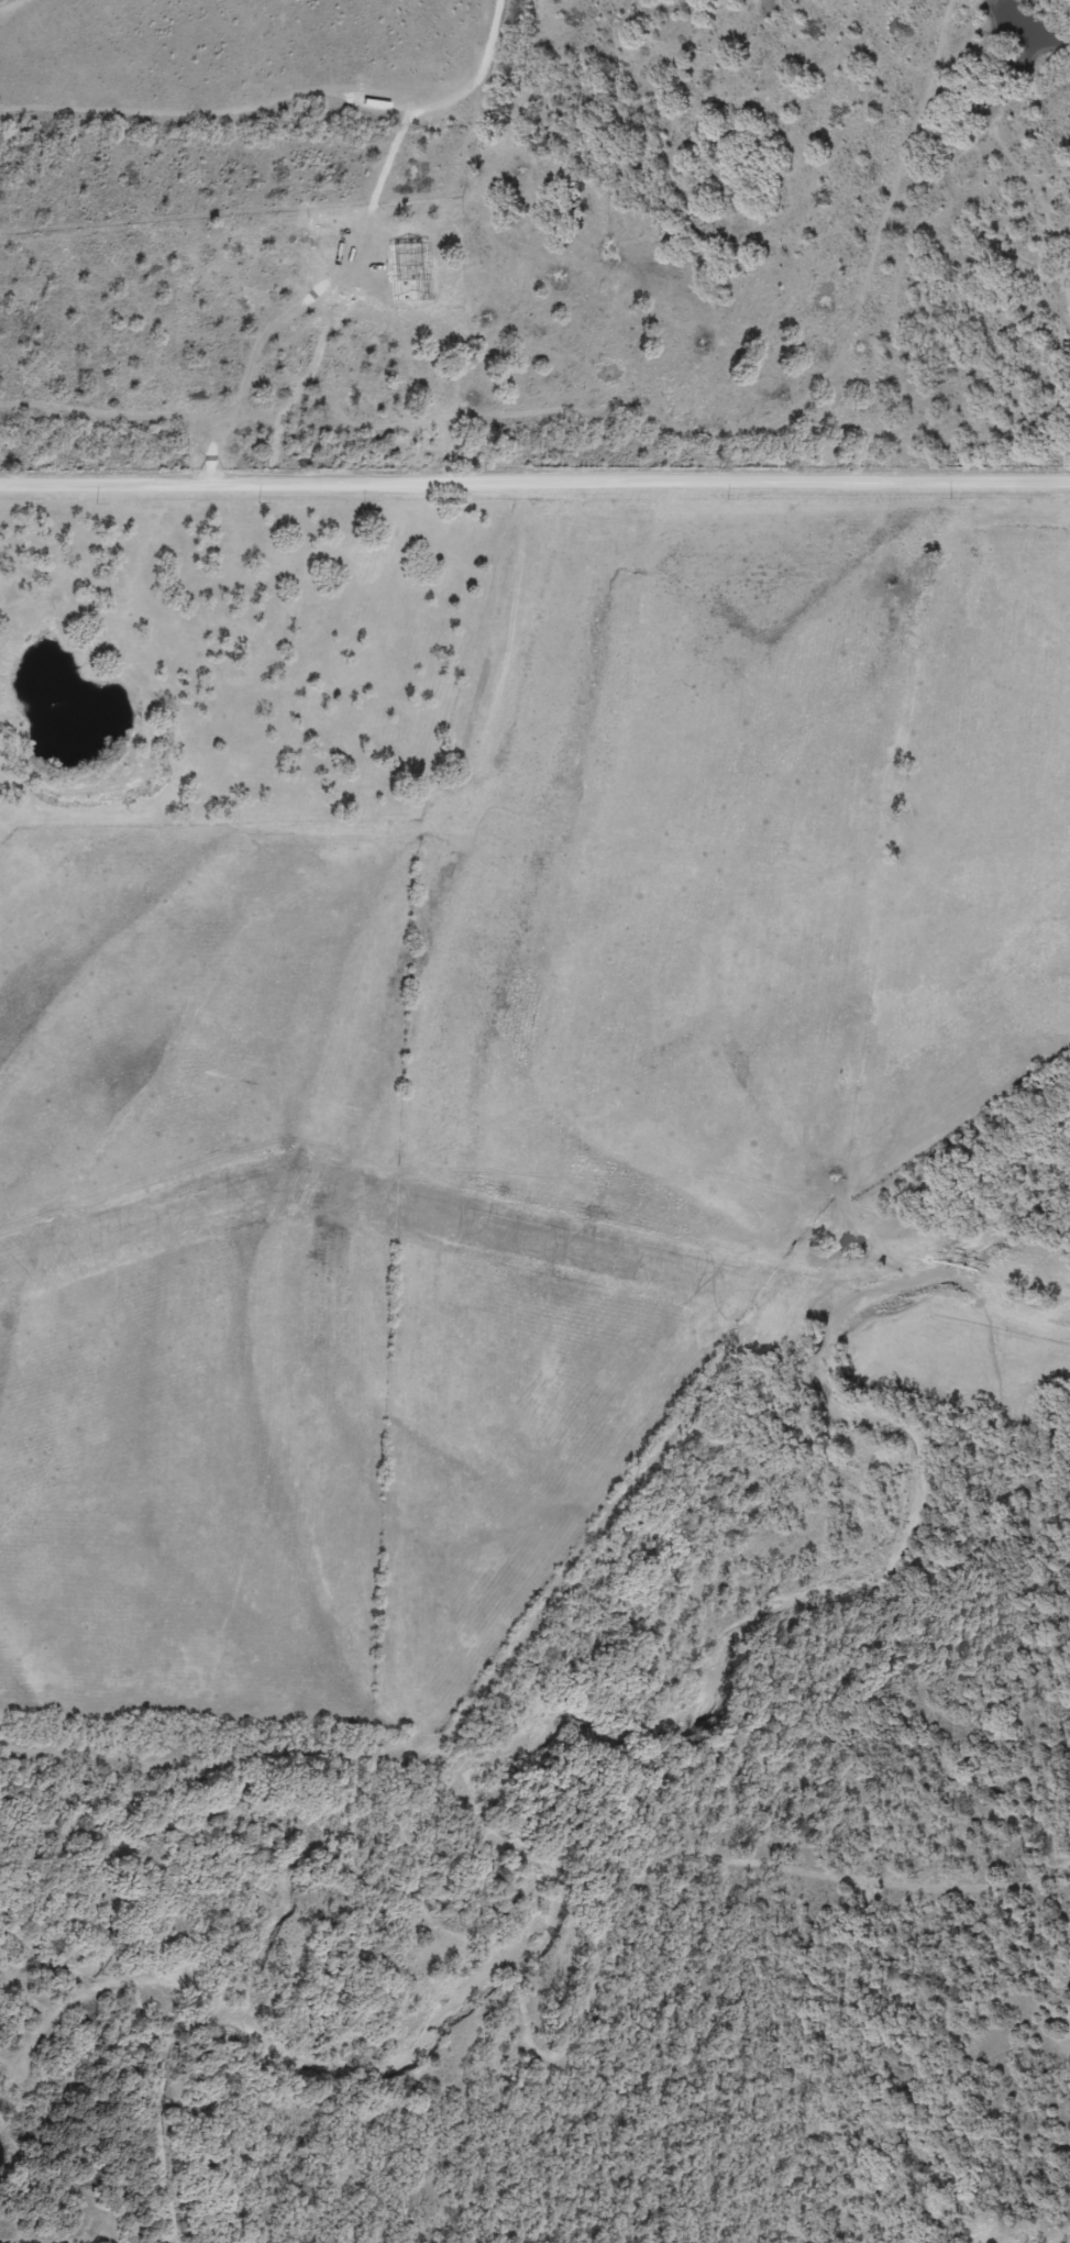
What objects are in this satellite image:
road: (534, 477)

